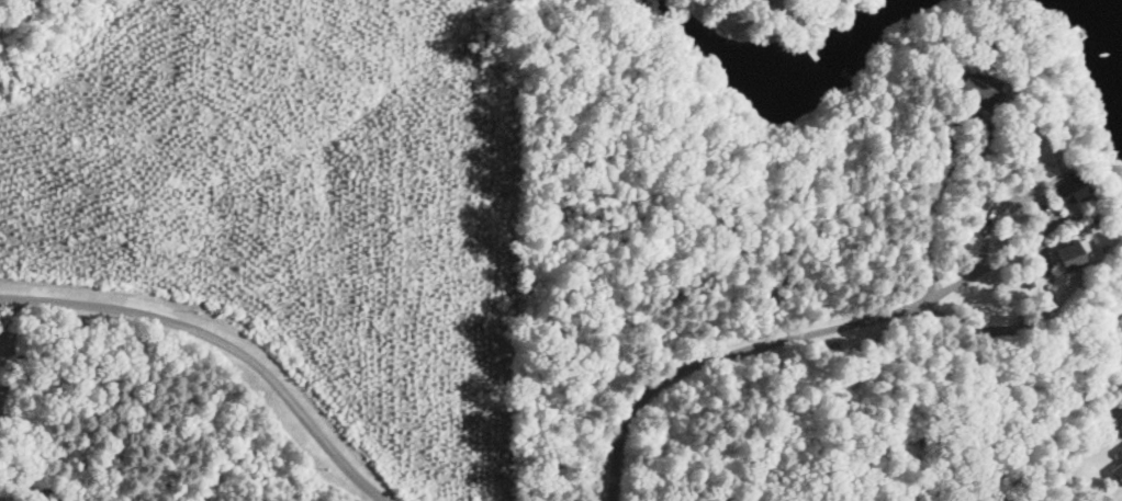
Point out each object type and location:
building: (979, 95)
building: (1078, 192)
road: (218, 345)
road: (766, 348)
building: (1121, 453)
building: (1119, 474)

